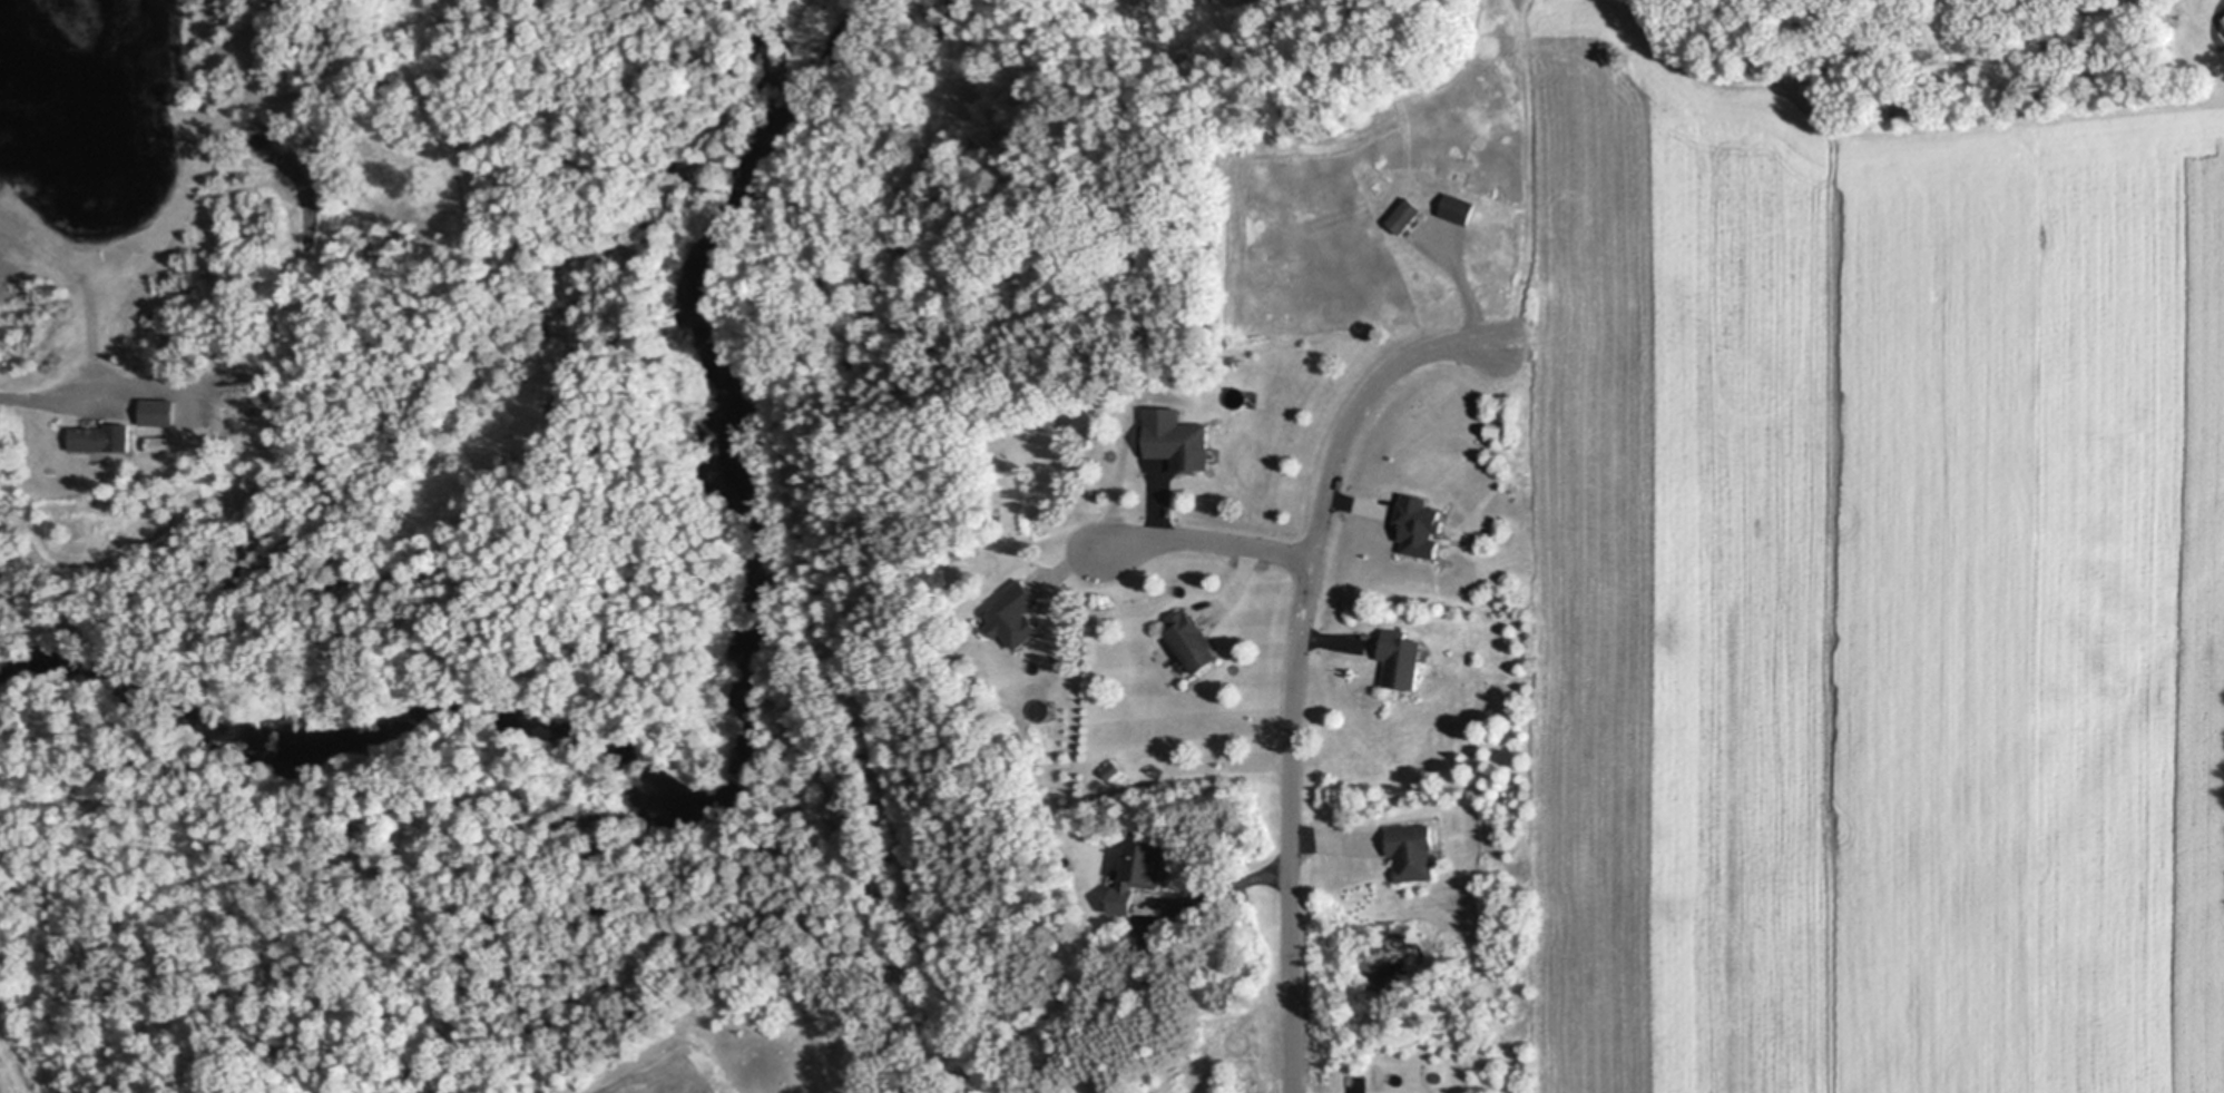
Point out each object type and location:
building: (2223, 20)
building: (1459, 206)
building: (1407, 215)
road: (50, 393)
building: (159, 411)
building: (102, 436)
building: (1180, 443)
building: (160, 444)
building: (1421, 525)
road: (1207, 541)
building: (1016, 612)
building: (1193, 639)
building: (1401, 659)
road: (1296, 663)
building: (1114, 768)
river: (727, 776)
building: (1414, 848)
building: (1139, 873)
building: (1153, 945)

